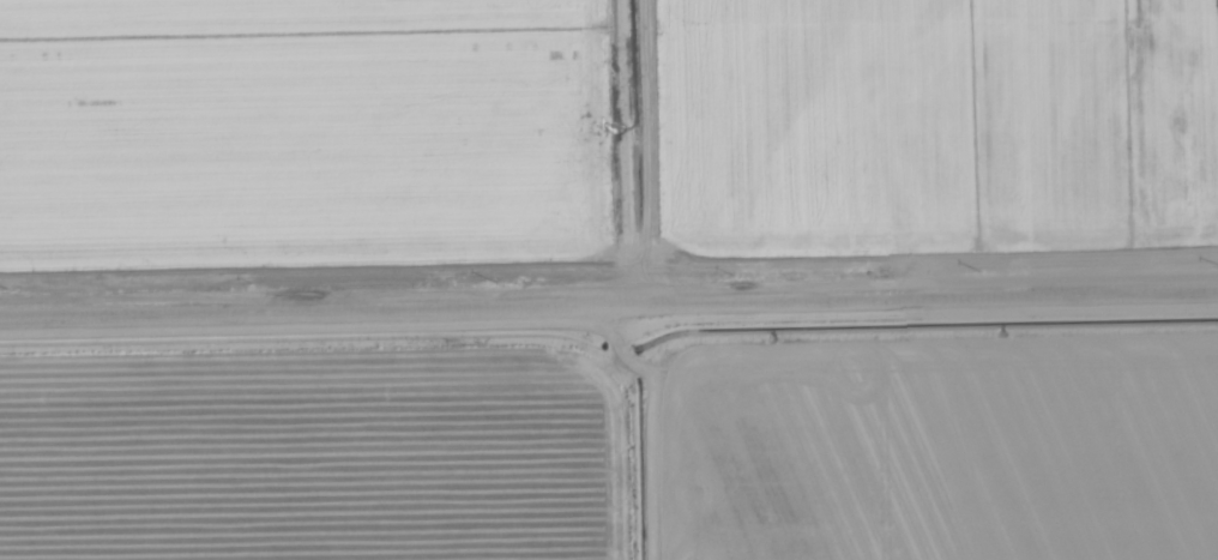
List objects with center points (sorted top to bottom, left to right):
road: (608, 288)

